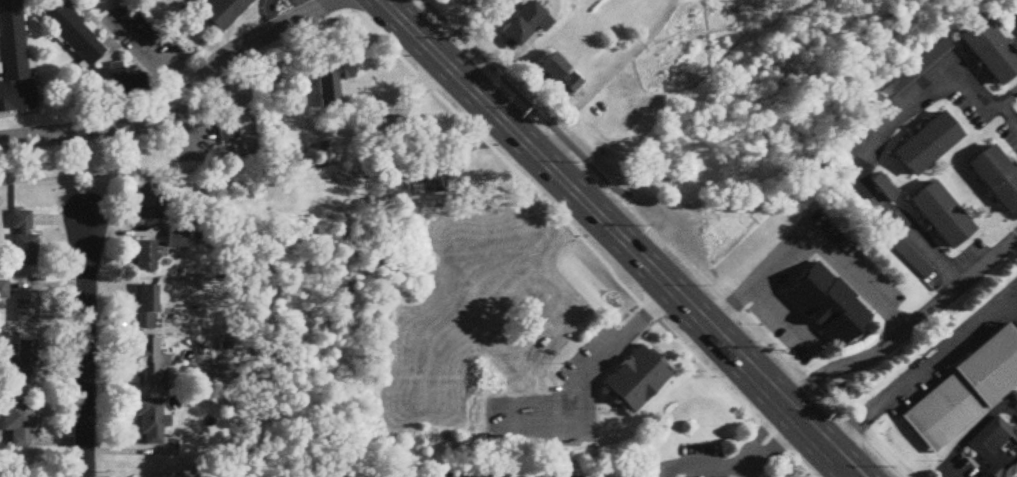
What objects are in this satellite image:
building: (186, 0)
building: (472, 1)
building: (1013, 8)
building: (224, 13)
building: (133, 19)
building: (526, 26)
building: (72, 30)
building: (13, 41)
building: (989, 52)
road: (150, 55)
building: (917, 61)
building: (562, 76)
road: (607, 78)
building: (104, 83)
building: (333, 85)
building: (16, 93)
parking lot: (969, 101)
road: (181, 103)
parking lot: (1010, 130)
road: (864, 136)
building: (926, 140)
building: (441, 175)
building: (994, 175)
building: (884, 184)
building: (150, 202)
building: (939, 211)
building: (690, 223)
road: (620, 237)
road: (589, 238)
road: (648, 238)
building: (178, 239)
building: (24, 242)
building: (905, 250)
road: (787, 251)
building: (146, 257)
parking lot: (771, 275)
building: (4, 291)
road: (730, 304)
building: (828, 305)
building: (28, 308)
building: (147, 308)
road: (643, 313)
road: (890, 314)
road: (906, 327)
road: (955, 346)
parking lot: (953, 349)
road: (85, 350)
building: (150, 362)
building: (24, 363)
building: (635, 373)
road: (574, 375)
building: (966, 392)
parking lot: (558, 398)
road: (1011, 408)
building: (151, 422)
road: (861, 422)
building: (20, 423)
road: (972, 429)
road: (770, 441)
building: (997, 448)
parking lot: (696, 462)
parking lot: (957, 466)
road: (701, 467)
road: (954, 470)
parking lot: (533, 472)
parking lot: (797, 474)
road: (853, 475)

